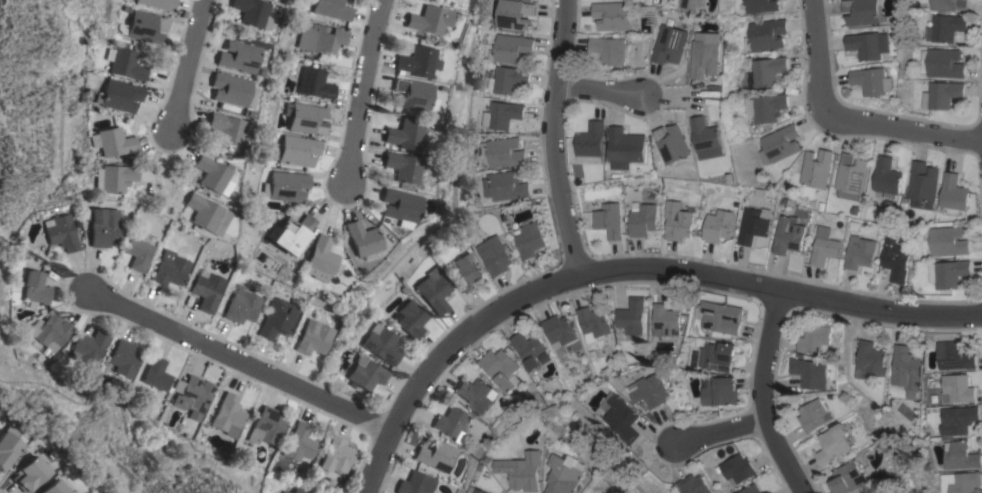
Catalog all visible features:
building: (159, 4)
building: (692, 4)
building: (948, 4)
building: (758, 6)
building: (332, 9)
building: (864, 12)
building: (251, 13)
building: (513, 13)
building: (613, 15)
building: (426, 20)
building: (146, 27)
building: (947, 27)
building: (767, 34)
building: (320, 39)
building: (669, 44)
building: (869, 44)
building: (511, 49)
building: (609, 49)
building: (705, 54)
building: (238, 57)
building: (415, 63)
building: (945, 63)
building: (125, 64)
road: (184, 65)
building: (768, 70)
building: (508, 80)
building: (873, 81)
building: (315, 84)
road: (599, 89)
building: (230, 91)
road: (361, 91)
building: (941, 94)
building: (119, 96)
building: (411, 96)
building: (765, 107)
building: (501, 114)
building: (306, 118)
road: (847, 119)
building: (227, 131)
building: (404, 134)
road: (551, 138)
building: (708, 138)
building: (591, 142)
building: (114, 143)
building: (673, 144)
building: (779, 144)
building: (626, 148)
building: (297, 151)
building: (503, 152)
building: (400, 168)
building: (817, 168)
building: (210, 175)
building: (851, 175)
building: (887, 177)
building: (114, 178)
building: (923, 184)
building: (505, 185)
building: (286, 187)
building: (953, 194)
building: (396, 207)
building: (204, 214)
building: (642, 219)
building: (609, 220)
building: (677, 221)
building: (717, 223)
building: (755, 225)
building: (102, 227)
building: (61, 233)
building: (290, 234)
building: (788, 235)
building: (360, 240)
building: (530, 240)
building: (948, 241)
building: (138, 251)
building: (824, 251)
building: (860, 252)
building: (494, 255)
building: (895, 259)
building: (319, 260)
road: (639, 268)
building: (169, 269)
building: (464, 272)
building: (950, 273)
building: (36, 289)
building: (205, 290)
building: (434, 293)
building: (240, 306)
building: (632, 316)
building: (719, 316)
building: (279, 319)
building: (410, 319)
building: (666, 320)
building: (593, 323)
building: (559, 330)
building: (50, 333)
building: (313, 338)
building: (816, 339)
building: (382, 344)
building: (89, 347)
building: (529, 348)
building: (719, 356)
building: (954, 356)
building: (123, 359)
building: (870, 360)
road: (246, 363)
building: (502, 369)
building: (906, 370)
building: (812, 372)
building: (156, 374)
building: (366, 374)
building: (957, 389)
building: (649, 390)
building: (719, 391)
building: (477, 394)
building: (193, 395)
road: (760, 397)
building: (227, 414)
building: (814, 415)
building: (620, 416)
building: (958, 419)
building: (452, 423)
building: (266, 427)
road: (717, 430)
building: (300, 443)
building: (835, 444)
building: (7, 445)
building: (336, 455)
building: (960, 455)
building: (437, 456)
building: (737, 469)
building: (525, 470)
building: (28, 474)
building: (568, 474)
building: (851, 478)
road: (377, 481)
building: (959, 482)
building: (416, 484)
building: (693, 484)
building: (51, 488)
building: (751, 489)
building: (478, 490)
building: (297, 491)
building: (284, 492)
building: (767, 492)

